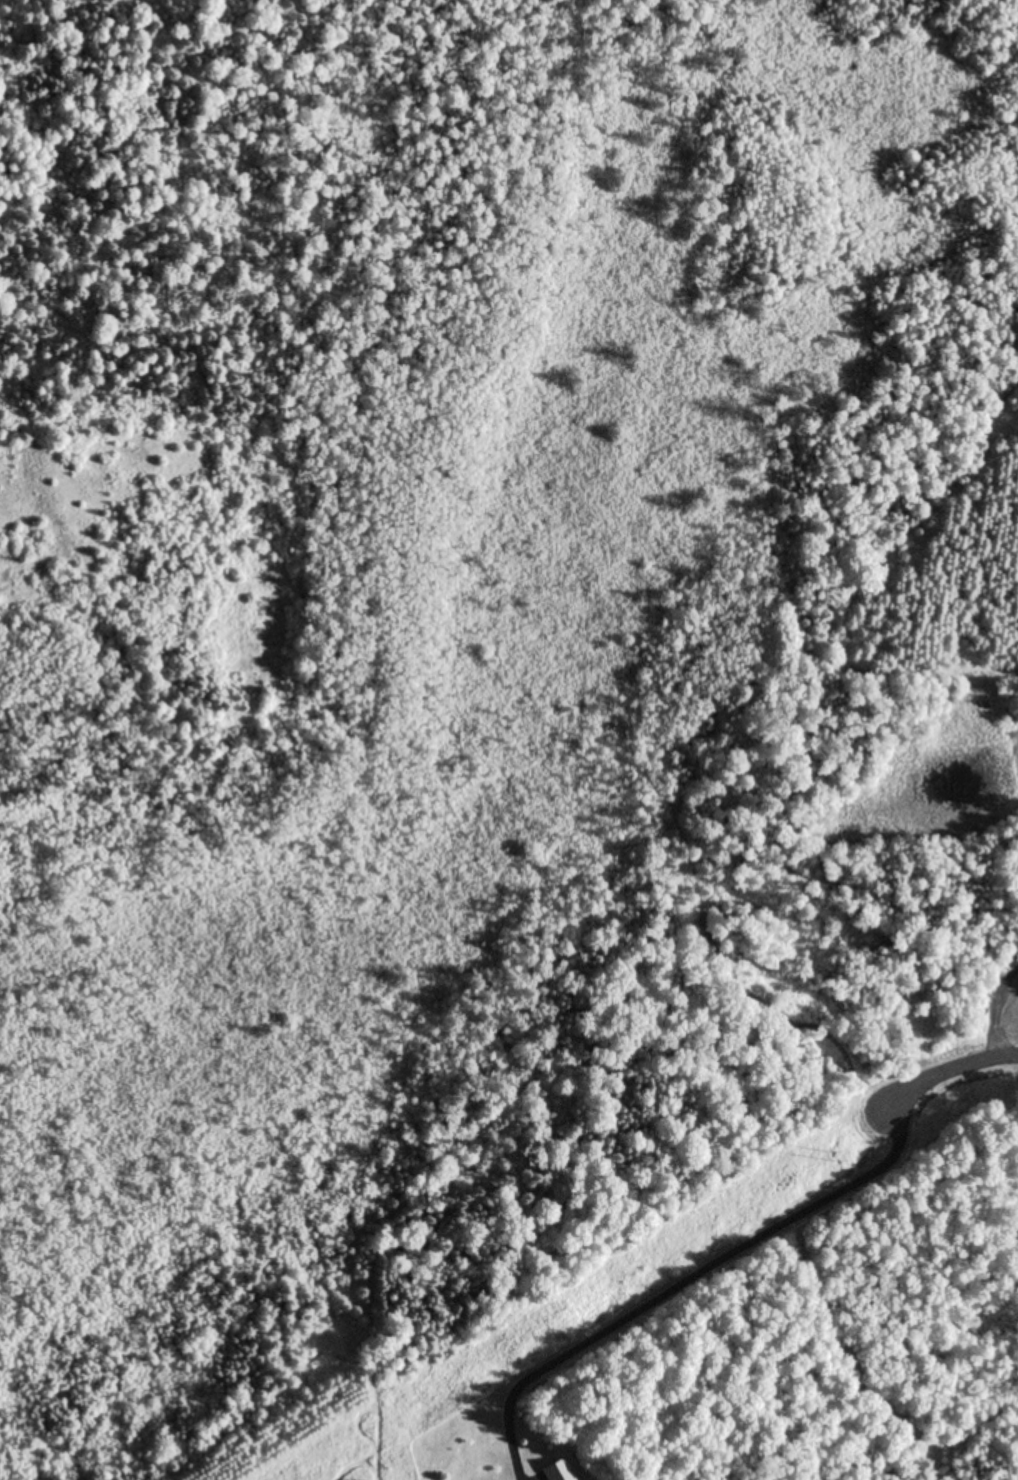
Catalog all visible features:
road: (950, 1074)
power tower: (838, 1156)

